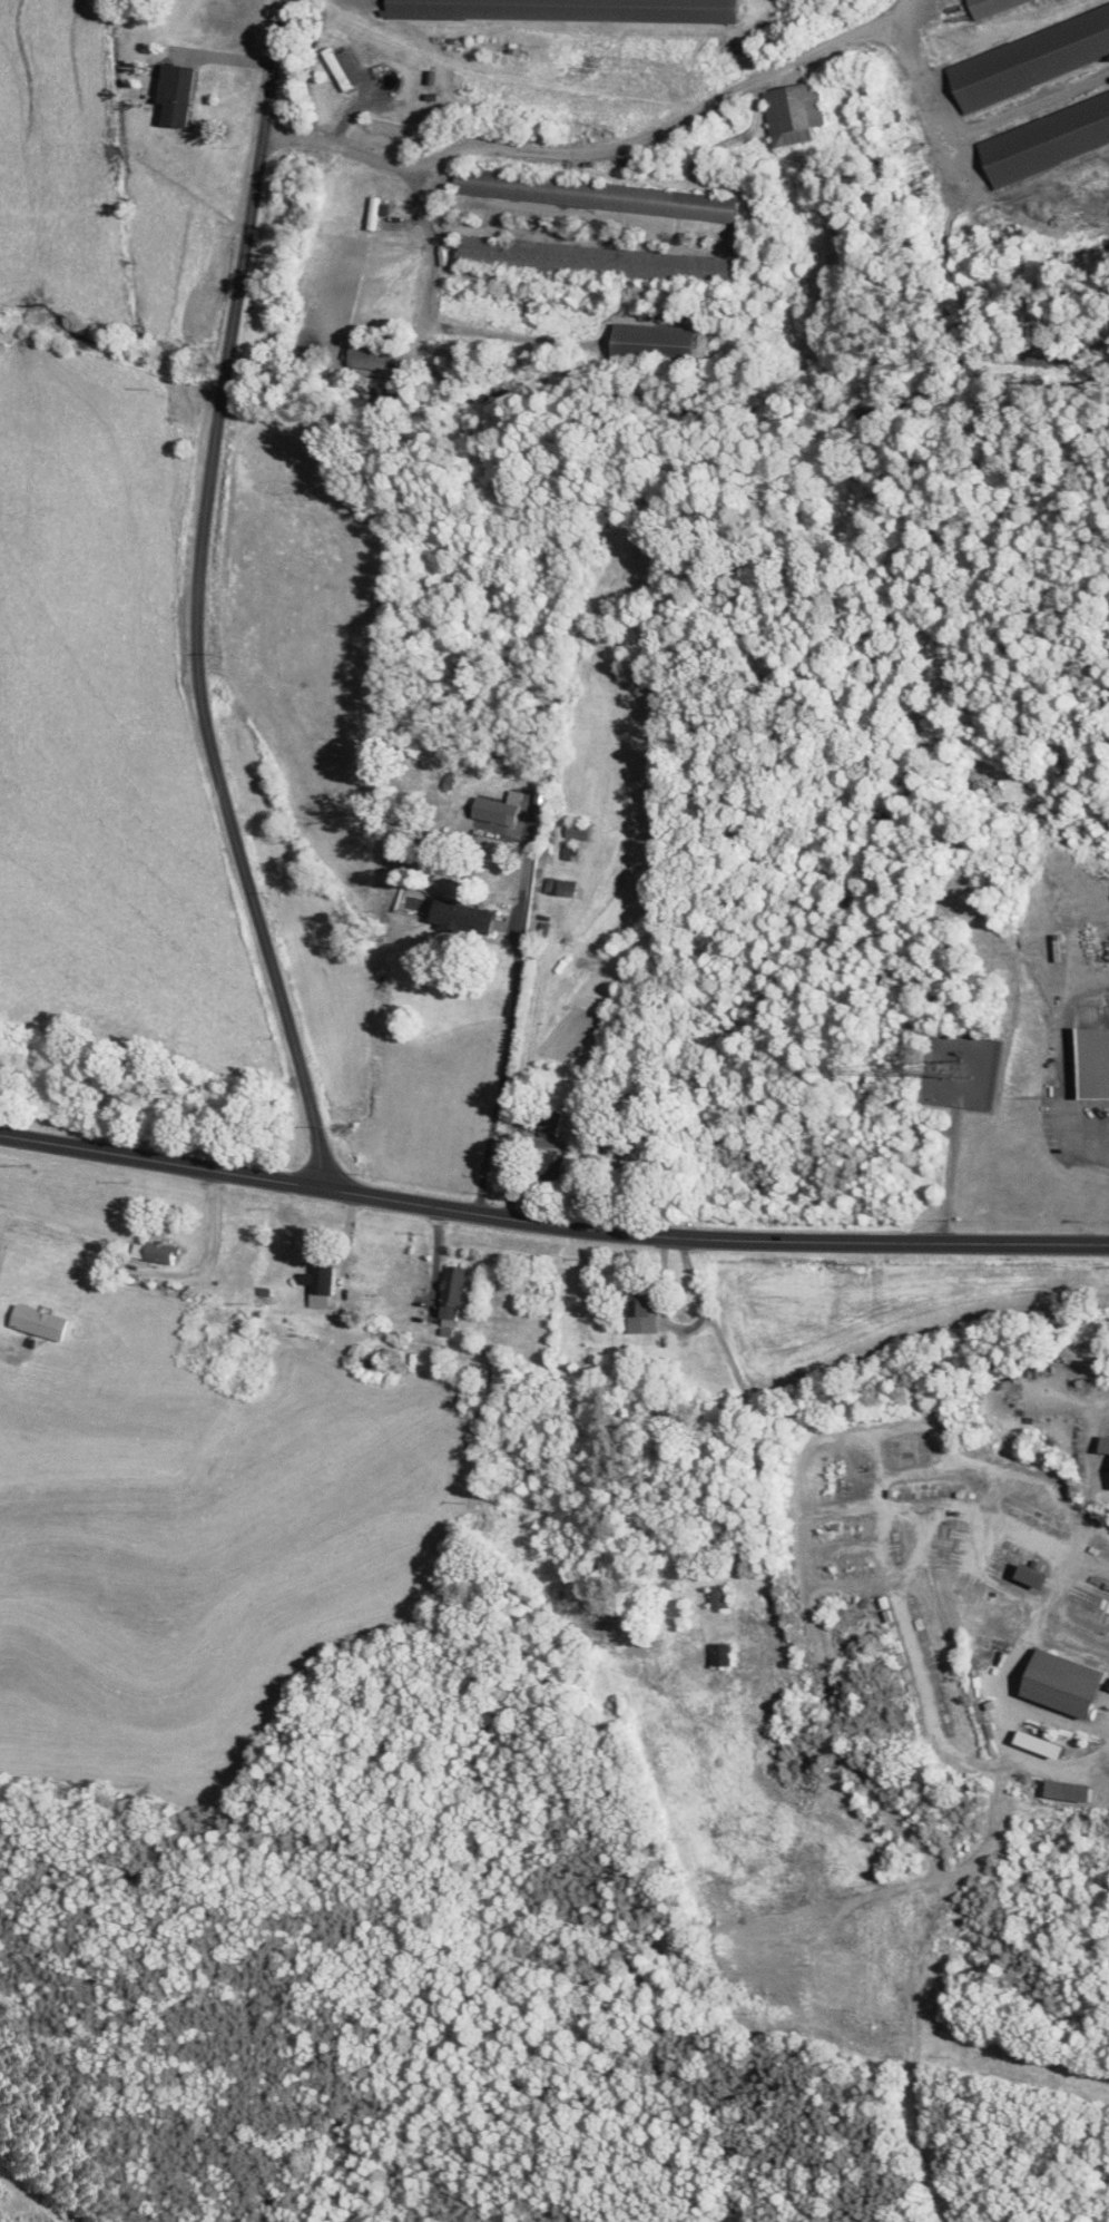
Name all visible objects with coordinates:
building: (575, 10)
building: (1028, 55)
building: (344, 68)
building: (181, 96)
building: (797, 112)
building: (386, 136)
building: (1044, 136)
road: (597, 153)
building: (600, 194)
building: (599, 261)
building: (661, 343)
road: (197, 598)
building: (580, 830)
building: (570, 853)
building: (572, 888)
building: (469, 917)
building: (1095, 1064)
road: (514, 1075)
building: (550, 1125)
building: (553, 1165)
road: (550, 1224)
building: (163, 1253)
building: (323, 1284)
building: (457, 1301)
building: (647, 1309)
building: (42, 1322)
building: (1107, 1445)
road: (724, 1470)
building: (1040, 1576)
building: (722, 1598)
building: (724, 1655)
building: (1070, 1684)
building: (1073, 1791)

